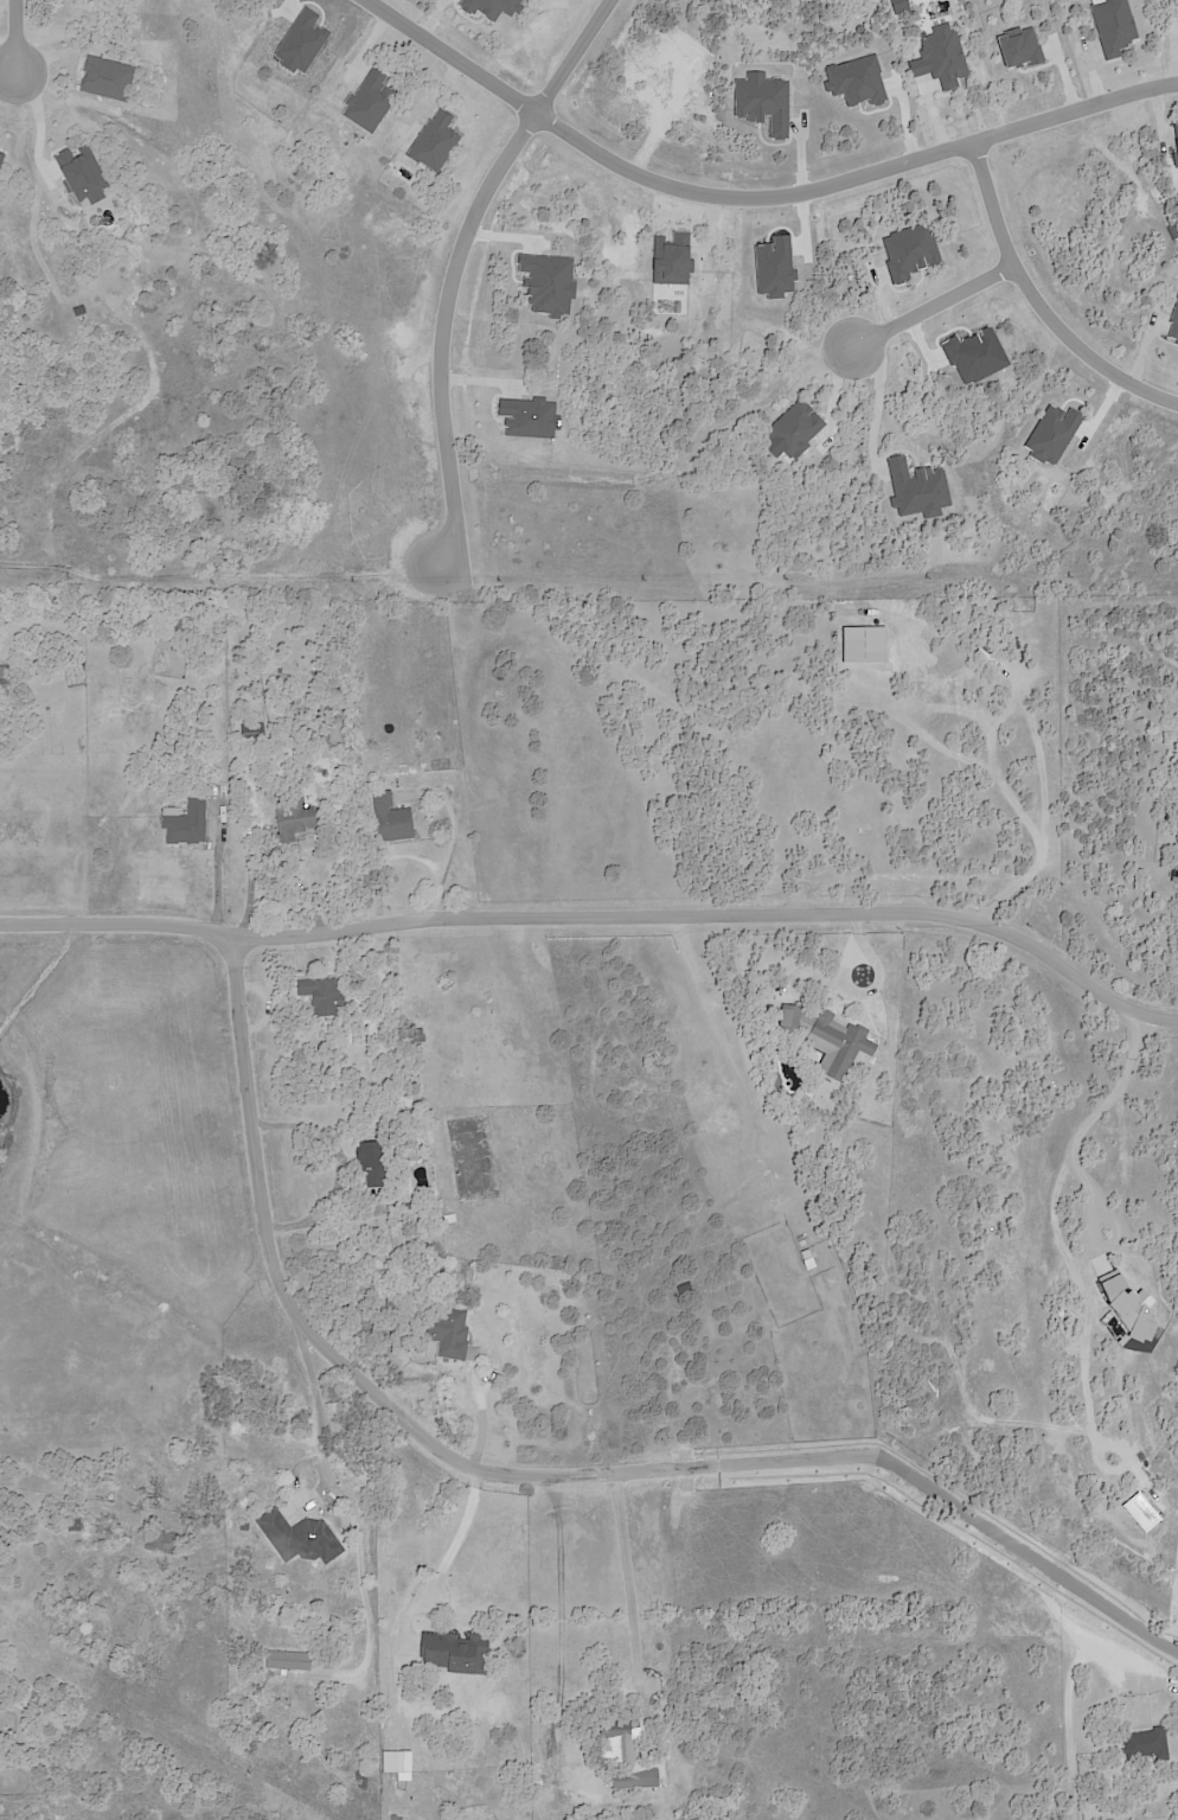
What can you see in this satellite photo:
road: (11, 39)
road: (745, 194)
road: (450, 268)
road: (1033, 304)
road: (933, 305)
road: (881, 397)
building: (184, 624)
building: (5, 678)
building: (364, 721)
building: (250, 733)
building: (380, 781)
building: (296, 818)
building: (393, 818)
building: (1174, 871)
road: (252, 877)
building: (1177, 888)
road: (600, 914)
building: (325, 996)
building: (420, 1035)
building: (830, 1040)
road: (1127, 1086)
building: (374, 1164)
building: (409, 1208)
building: (446, 1275)
building: (393, 1305)
building: (452, 1334)
road: (474, 1379)
road: (318, 1400)
road: (543, 1474)
building: (76, 1525)
building: (247, 1527)
road: (465, 1535)
building: (302, 1537)
building: (164, 1543)
road: (630, 1586)
road: (361, 1588)
building: (459, 1654)
building: (236, 1661)
building: (290, 1661)
building: (242, 1686)
road: (1075, 1735)
building: (357, 1738)
building: (1145, 1745)
building: (626, 1751)
building: (391, 1762)
power tower: (250, 1774)

